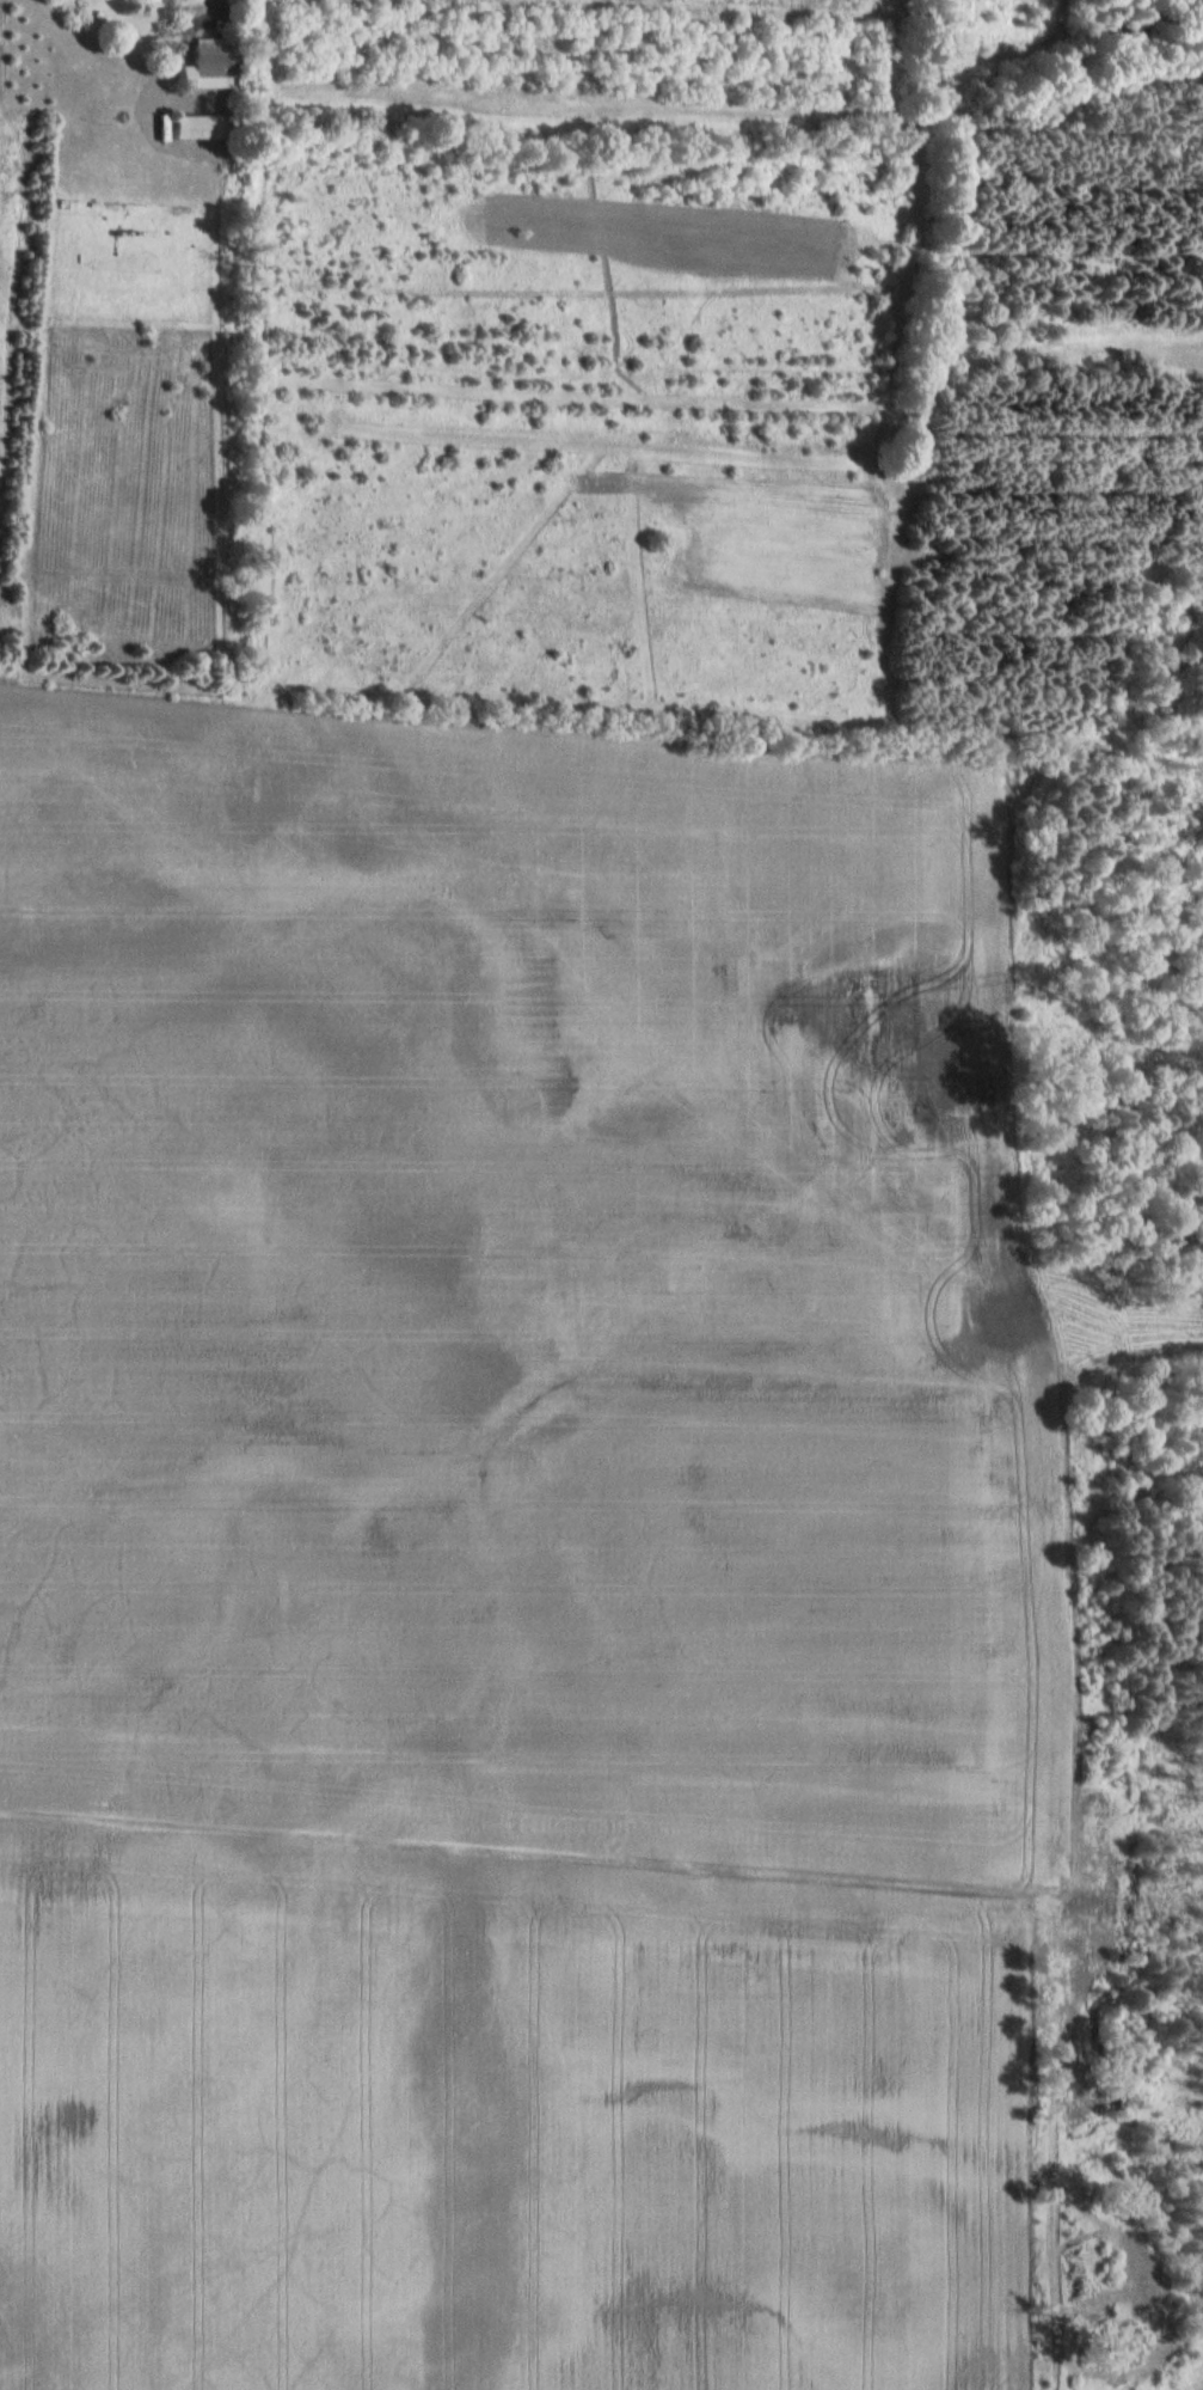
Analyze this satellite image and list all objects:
building: (208, 65)
building: (190, 127)

